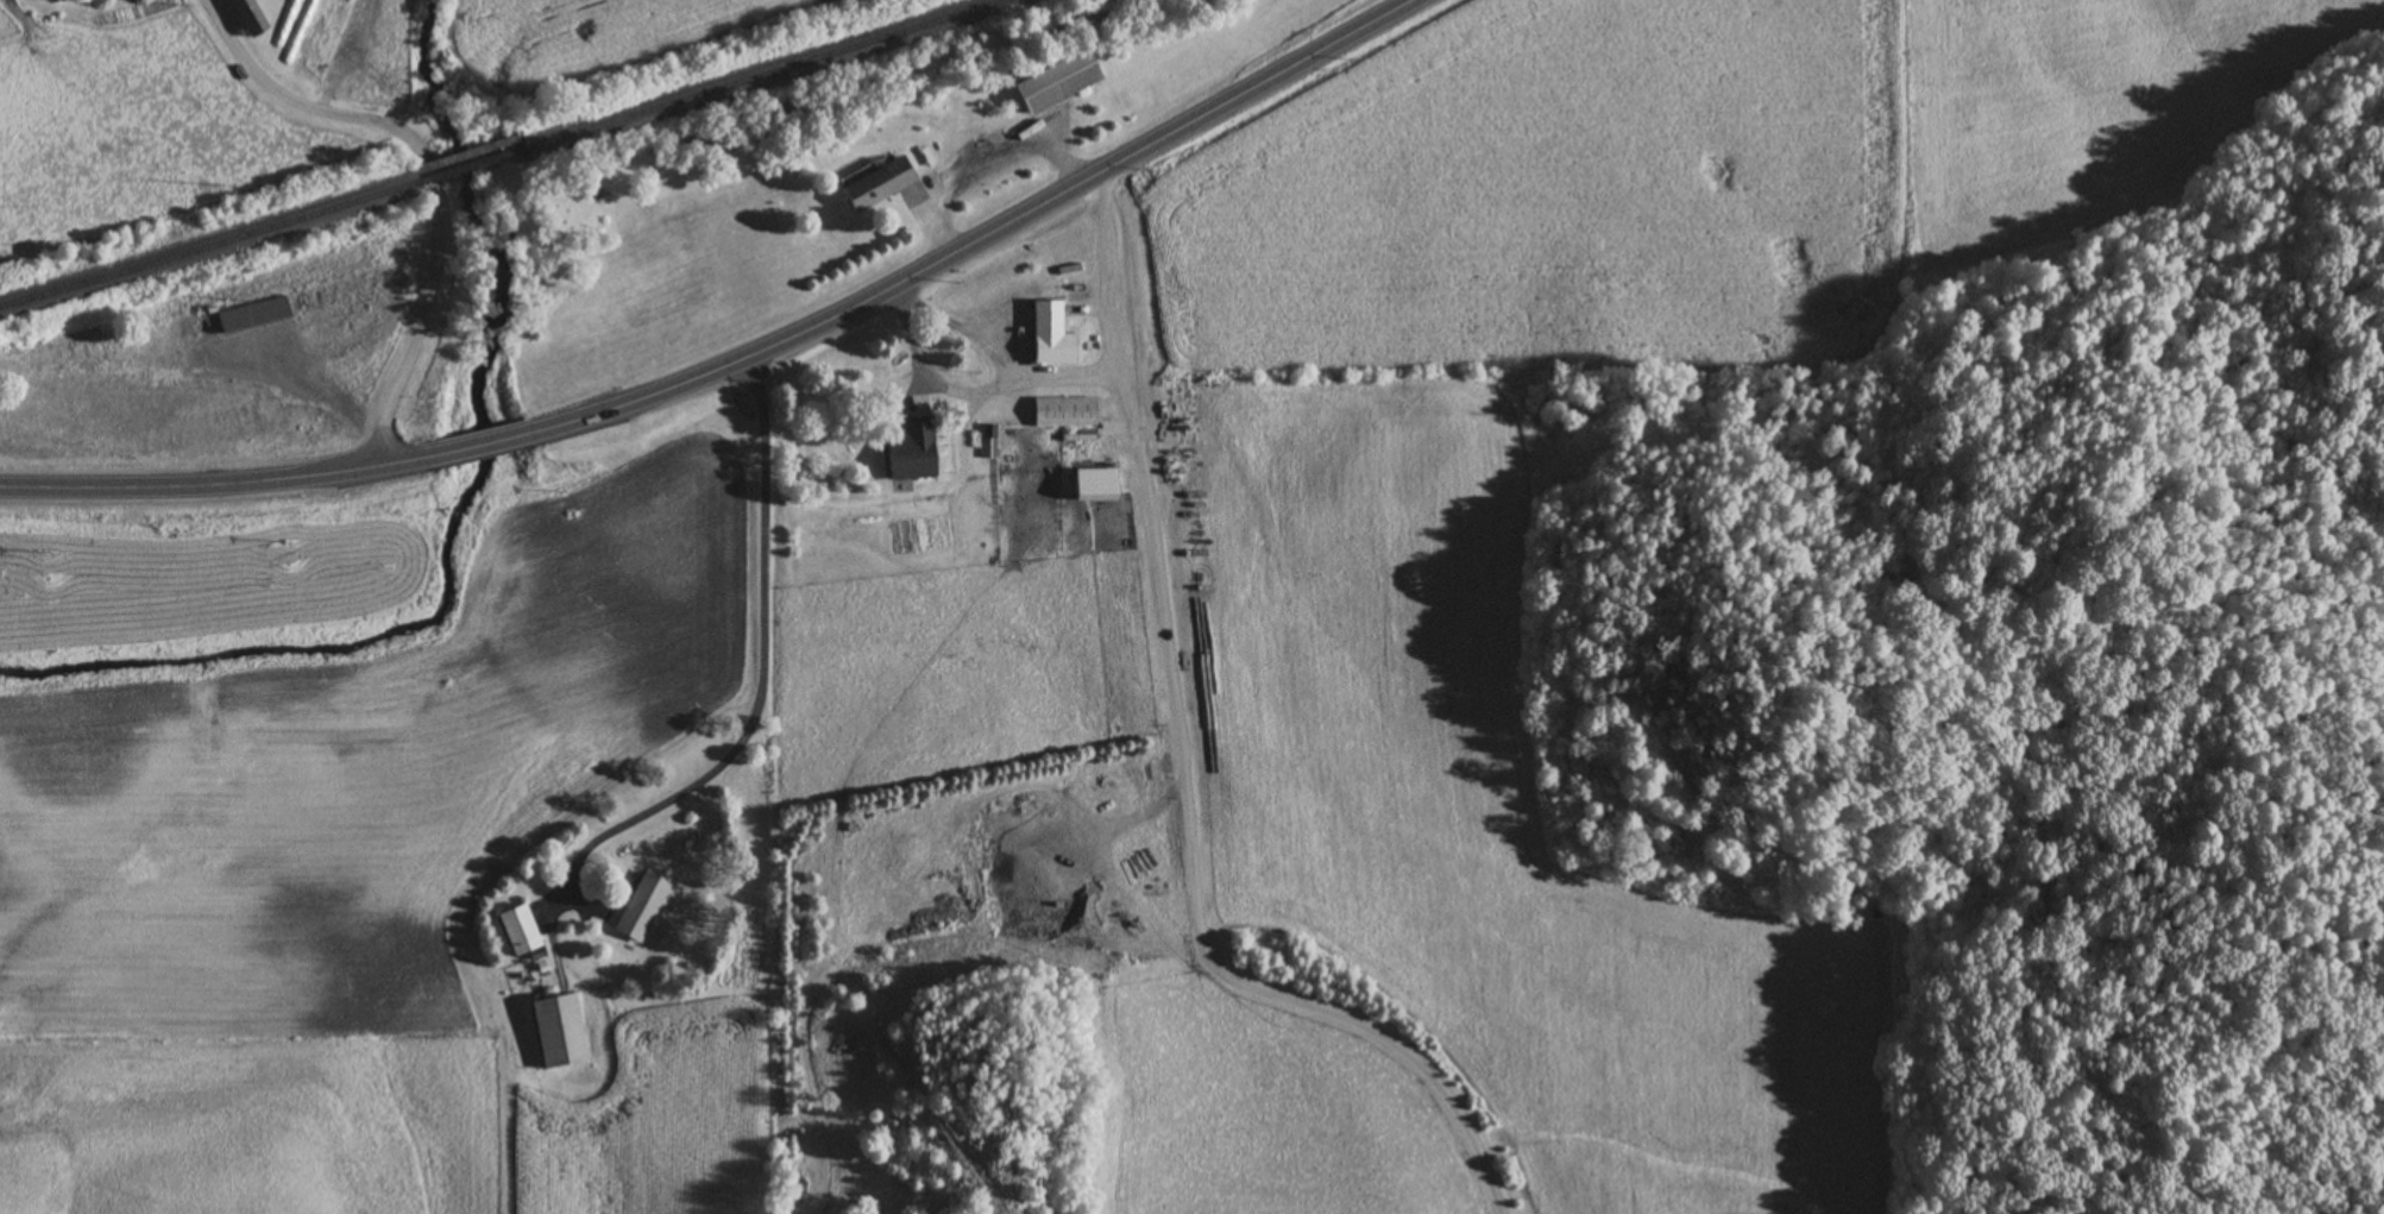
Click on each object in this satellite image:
building: (247, 15)
building: (316, 30)
railway: (765, 74)
road: (262, 75)
building: (1059, 80)
railway: (471, 165)
building: (879, 184)
road: (979, 241)
railway: (208, 247)
road: (432, 264)
building: (252, 314)
building: (1055, 347)
road: (1006, 353)
road: (942, 379)
building: (1068, 410)
building: (990, 442)
road: (480, 446)
building: (912, 448)
road: (219, 484)
road: (767, 686)
road: (1185, 768)
building: (643, 907)
building: (521, 930)
building: (560, 1032)

